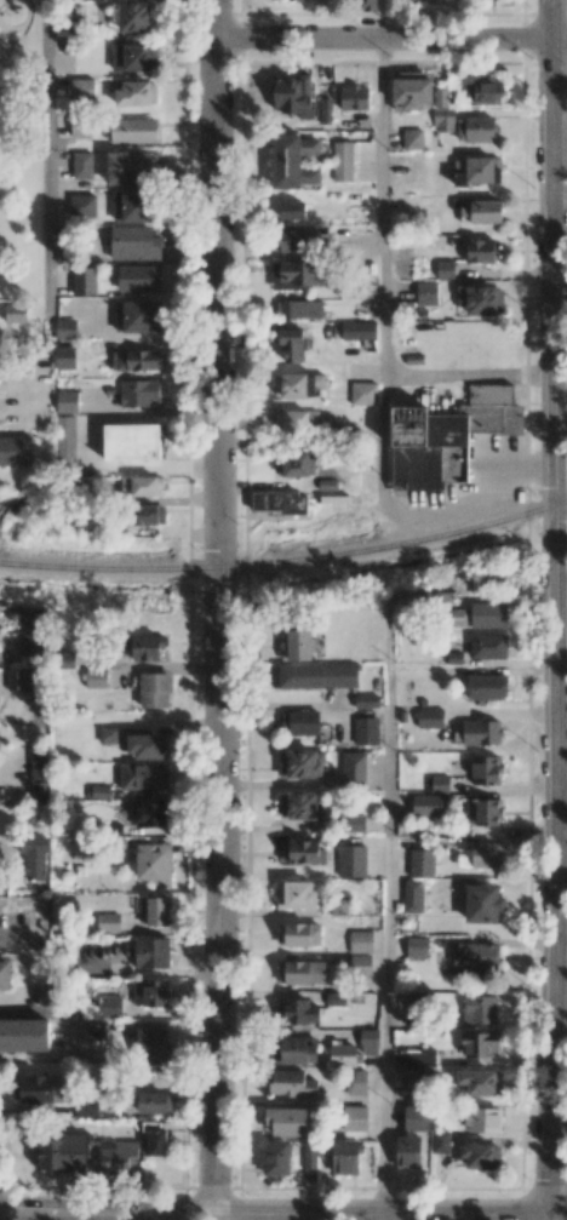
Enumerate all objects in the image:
building: (132, 15)
road: (380, 18)
road: (25, 21)
road: (4, 24)
road: (8, 38)
road: (389, 38)
road: (13, 42)
building: (147, 58)
building: (481, 88)
building: (411, 90)
building: (143, 92)
building: (292, 94)
building: (354, 97)
building: (325, 113)
building: (442, 120)
building: (80, 126)
building: (475, 128)
building: (133, 130)
building: (412, 138)
park: (22, 150)
building: (293, 160)
building: (342, 160)
building: (81, 165)
road: (44, 167)
building: (131, 167)
building: (477, 170)
building: (132, 205)
building: (82, 207)
road: (382, 207)
building: (292, 208)
building: (481, 211)
building: (294, 240)
building: (134, 242)
building: (480, 250)
building: (445, 268)
building: (296, 274)
building: (137, 277)
building: (426, 292)
building: (482, 299)
building: (298, 308)
building: (16, 311)
building: (137, 315)
building: (64, 328)
building: (360, 333)
building: (292, 343)
building: (65, 356)
building: (136, 360)
road: (469, 377)
road: (25, 383)
building: (298, 384)
building: (139, 391)
building: (363, 393)
building: (67, 401)
building: (296, 420)
building: (447, 436)
building: (65, 439)
building: (131, 441)
road: (91, 443)
road: (384, 445)
building: (15, 449)
building: (292, 463)
building: (145, 485)
building: (279, 502)
building: (149, 514)
railway: (287, 562)
building: (489, 582)
road: (556, 607)
road: (218, 609)
building: (488, 614)
building: (35, 617)
building: (297, 643)
building: (31, 645)
building: (487, 646)
building: (145, 647)
road: (472, 670)
building: (315, 676)
building: (96, 677)
building: (22, 678)
building: (486, 686)
building: (155, 689)
building: (366, 700)
building: (430, 717)
building: (300, 722)
building: (366, 729)
building: (481, 731)
building: (108, 734)
building: (147, 745)
building: (39, 763)
building: (299, 763)
building: (354, 767)
building: (485, 769)
building: (143, 775)
building: (437, 783)
building: (39, 792)
building: (426, 804)
building: (299, 806)
building: (483, 812)
building: (151, 813)
building: (351, 823)
building: (302, 850)
building: (487, 854)
building: (34, 855)
building: (351, 860)
building: (154, 863)
building: (422, 863)
building: (296, 894)
building: (412, 895)
building: (482, 903)
building: (157, 911)
road: (388, 920)
building: (108, 922)
building: (298, 933)
building: (361, 940)
road: (24, 943)
building: (417, 946)
building: (151, 952)
building: (476, 960)
building: (360, 964)
building: (300, 972)
building: (5, 974)
building: (150, 992)
building: (109, 1004)
road: (59, 1009)
building: (417, 1009)
building: (480, 1009)
building: (299, 1012)
building: (24, 1035)
building: (368, 1041)
building: (150, 1043)
building: (480, 1043)
building: (293, 1050)
building: (343, 1055)
building: (417, 1056)
building: (409, 1075)
building: (355, 1081)
building: (479, 1081)
building: (291, 1083)
building: (38, 1089)
building: (154, 1101)
building: (86, 1106)
building: (353, 1117)
building: (416, 1117)
building: (481, 1119)
building: (286, 1121)
building: (156, 1141)
building: (440, 1141)
building: (407, 1150)
building: (62, 1152)
road: (6, 1153)
building: (111, 1155)
building: (309, 1155)
building: (480, 1155)
building: (276, 1157)
building: (345, 1157)
road: (2, 1184)
road: (6, 1198)
road: (273, 1213)
road: (557, 1214)
road: (379, 1216)
road: (548, 1216)

